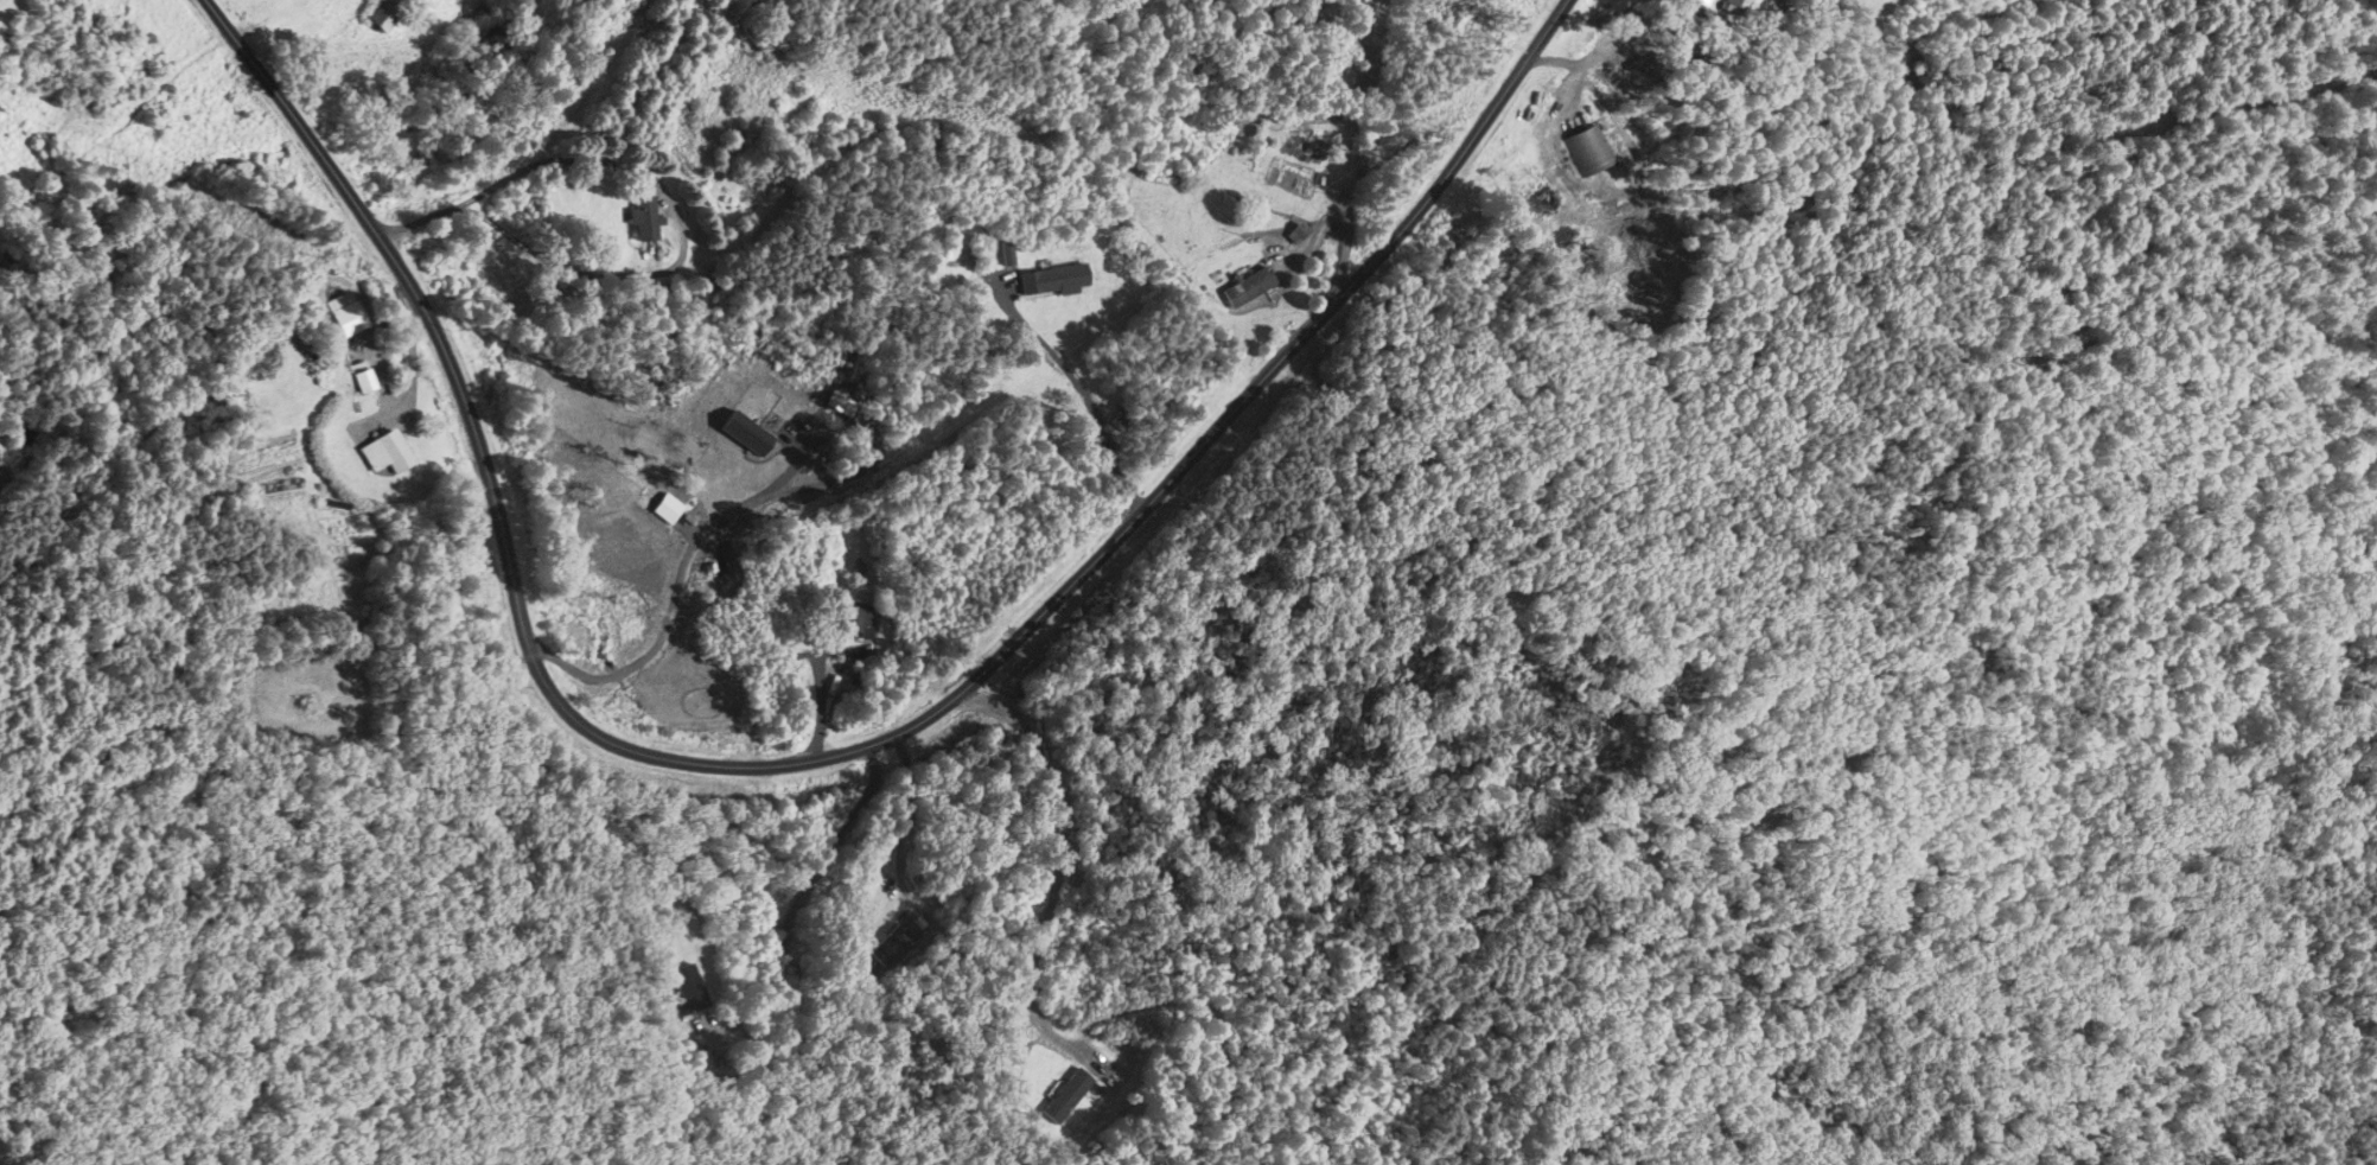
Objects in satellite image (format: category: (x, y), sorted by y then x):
building: (1699, 2)
building: (1735, 7)
building: (383, 15)
building: (586, 65)
building: (1587, 151)
road: (664, 189)
building: (644, 221)
building: (1052, 280)
building: (1248, 288)
building: (345, 314)
building: (362, 381)
road: (1077, 386)
building: (1121, 419)
building: (385, 453)
road: (733, 509)
building: (712, 574)
building: (854, 622)
road: (820, 690)
road: (821, 757)
road: (904, 823)
road: (1063, 851)
building: (892, 947)
building: (689, 988)
building: (1068, 1097)

